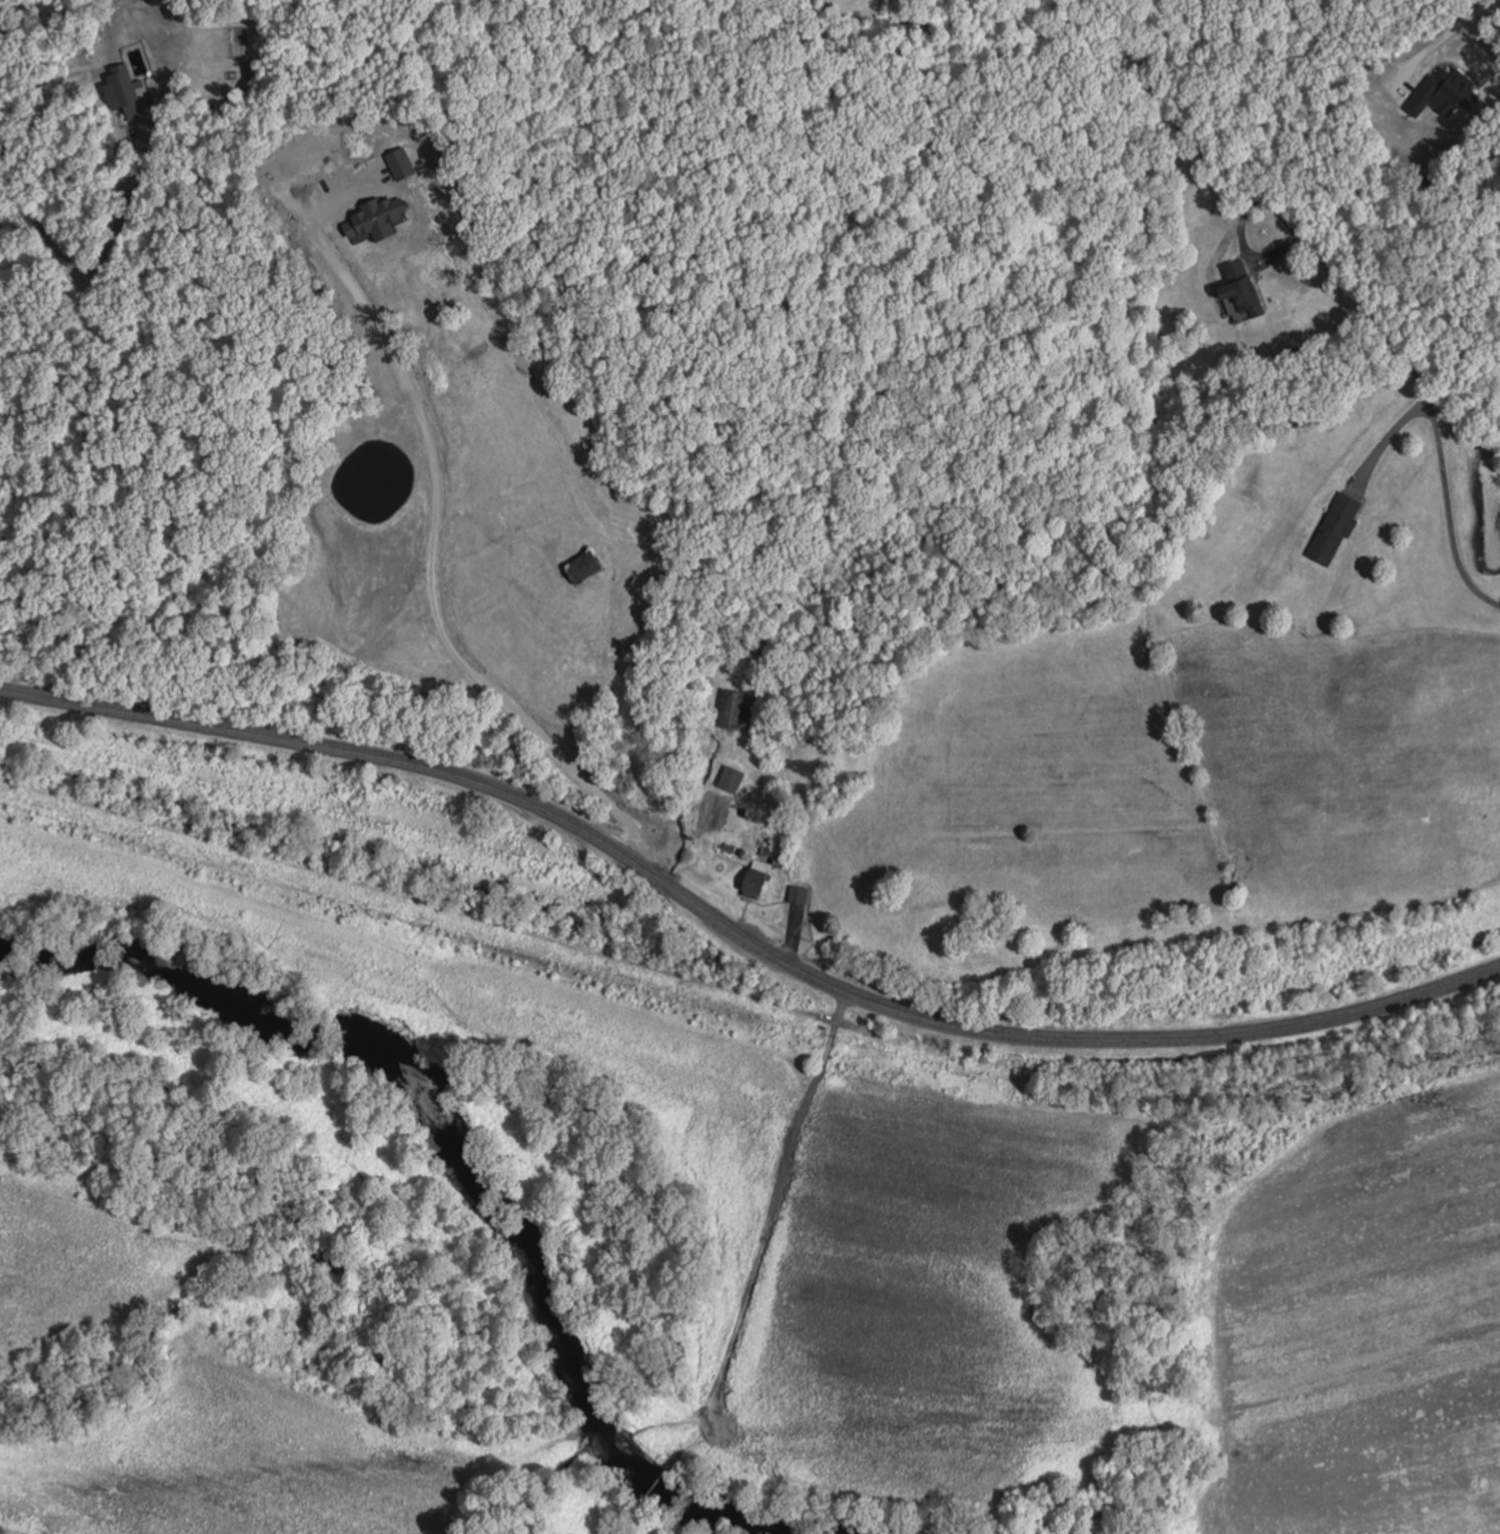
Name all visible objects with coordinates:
building: (123, 92)
road: (1300, 242)
building: (1240, 287)
building: (1333, 528)
building: (580, 567)
building: (733, 710)
building: (730, 779)
building: (753, 879)
building: (797, 895)
road: (739, 934)
river: (472, 1161)
road: (760, 1229)
road: (653, 1480)
road: (623, 1516)

